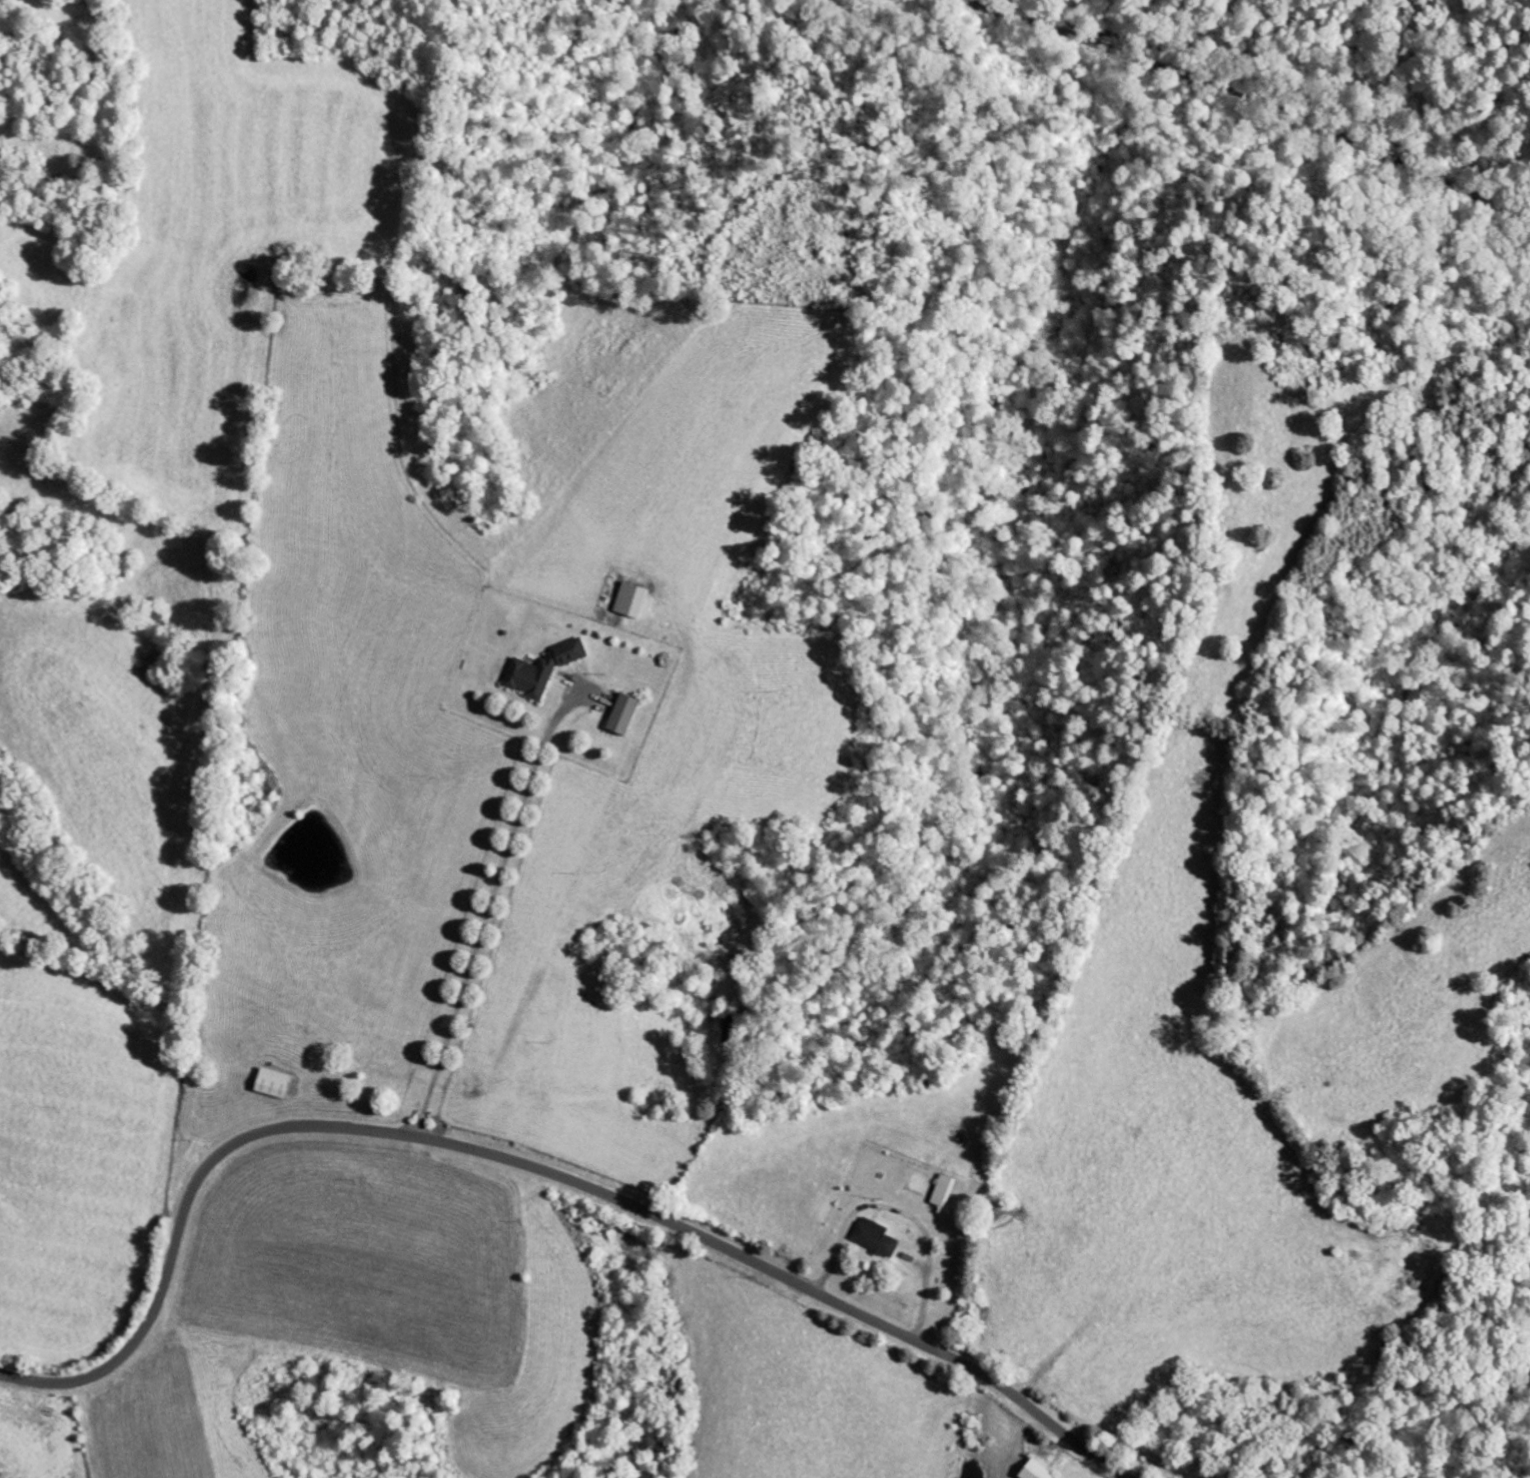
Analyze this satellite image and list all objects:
road: (1254, 119)
building: (628, 600)
building: (539, 669)
building: (620, 714)
building: (268, 1083)
road: (528, 1168)
building: (871, 1236)

